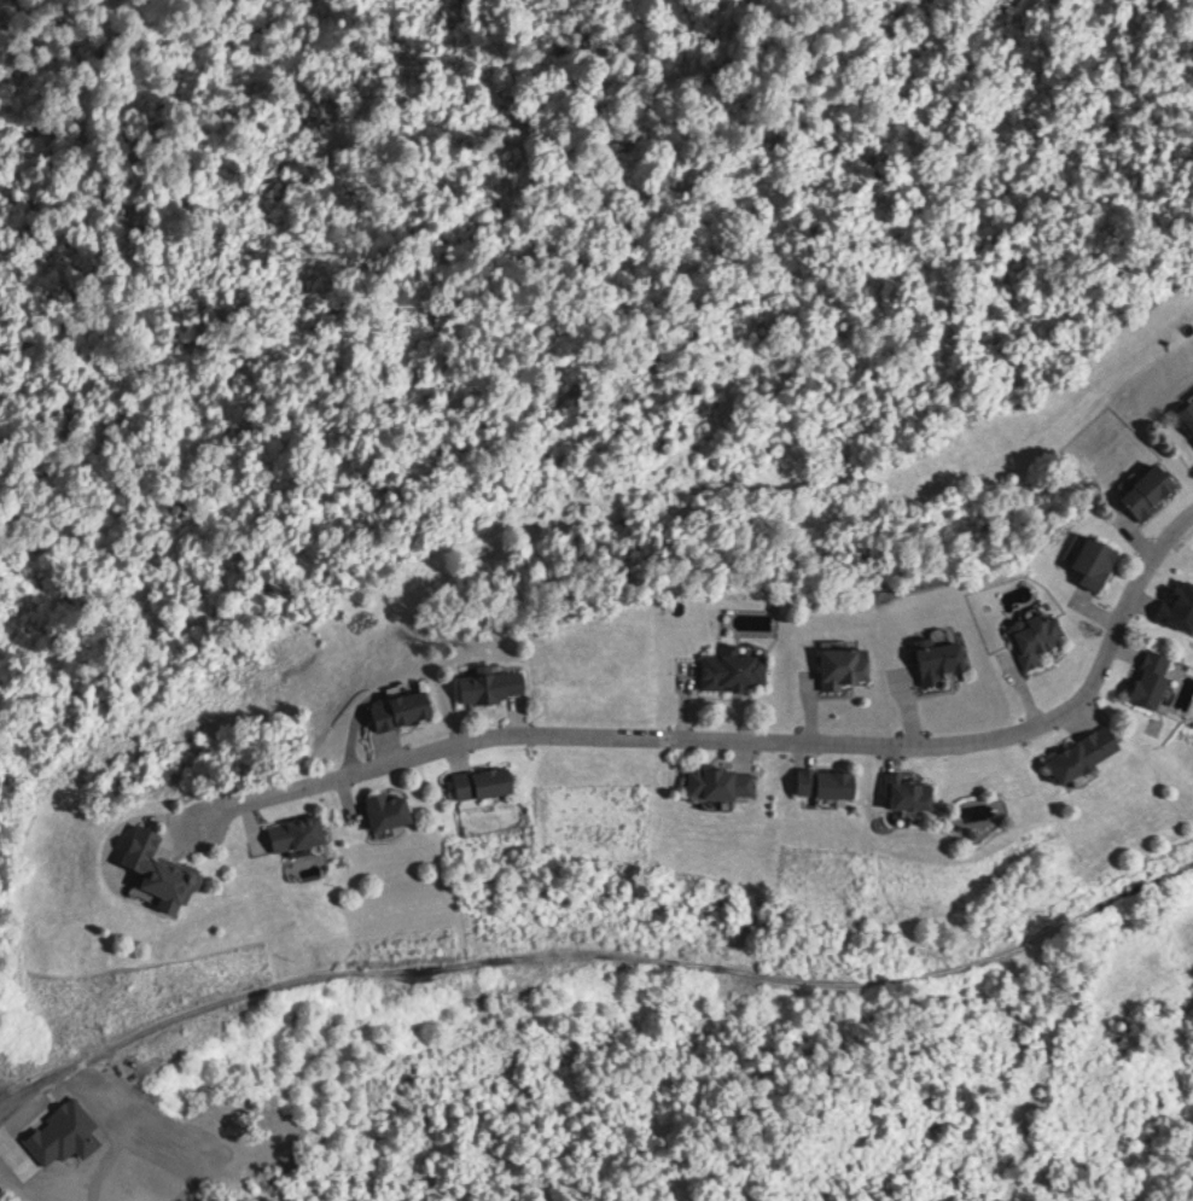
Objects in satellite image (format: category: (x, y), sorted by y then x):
building: (1189, 414)
building: (1154, 491)
building: (1100, 561)
building: (1040, 637)
building: (943, 660)
building: (846, 665)
building: (737, 667)
building: (1160, 677)
building: (497, 683)
building: (407, 707)
road: (749, 739)
building: (1094, 753)
building: (727, 781)
building: (489, 782)
building: (832, 782)
building: (915, 793)
building: (396, 810)
building: (304, 833)
building: (165, 870)
road: (595, 952)
road: (1, 1109)

